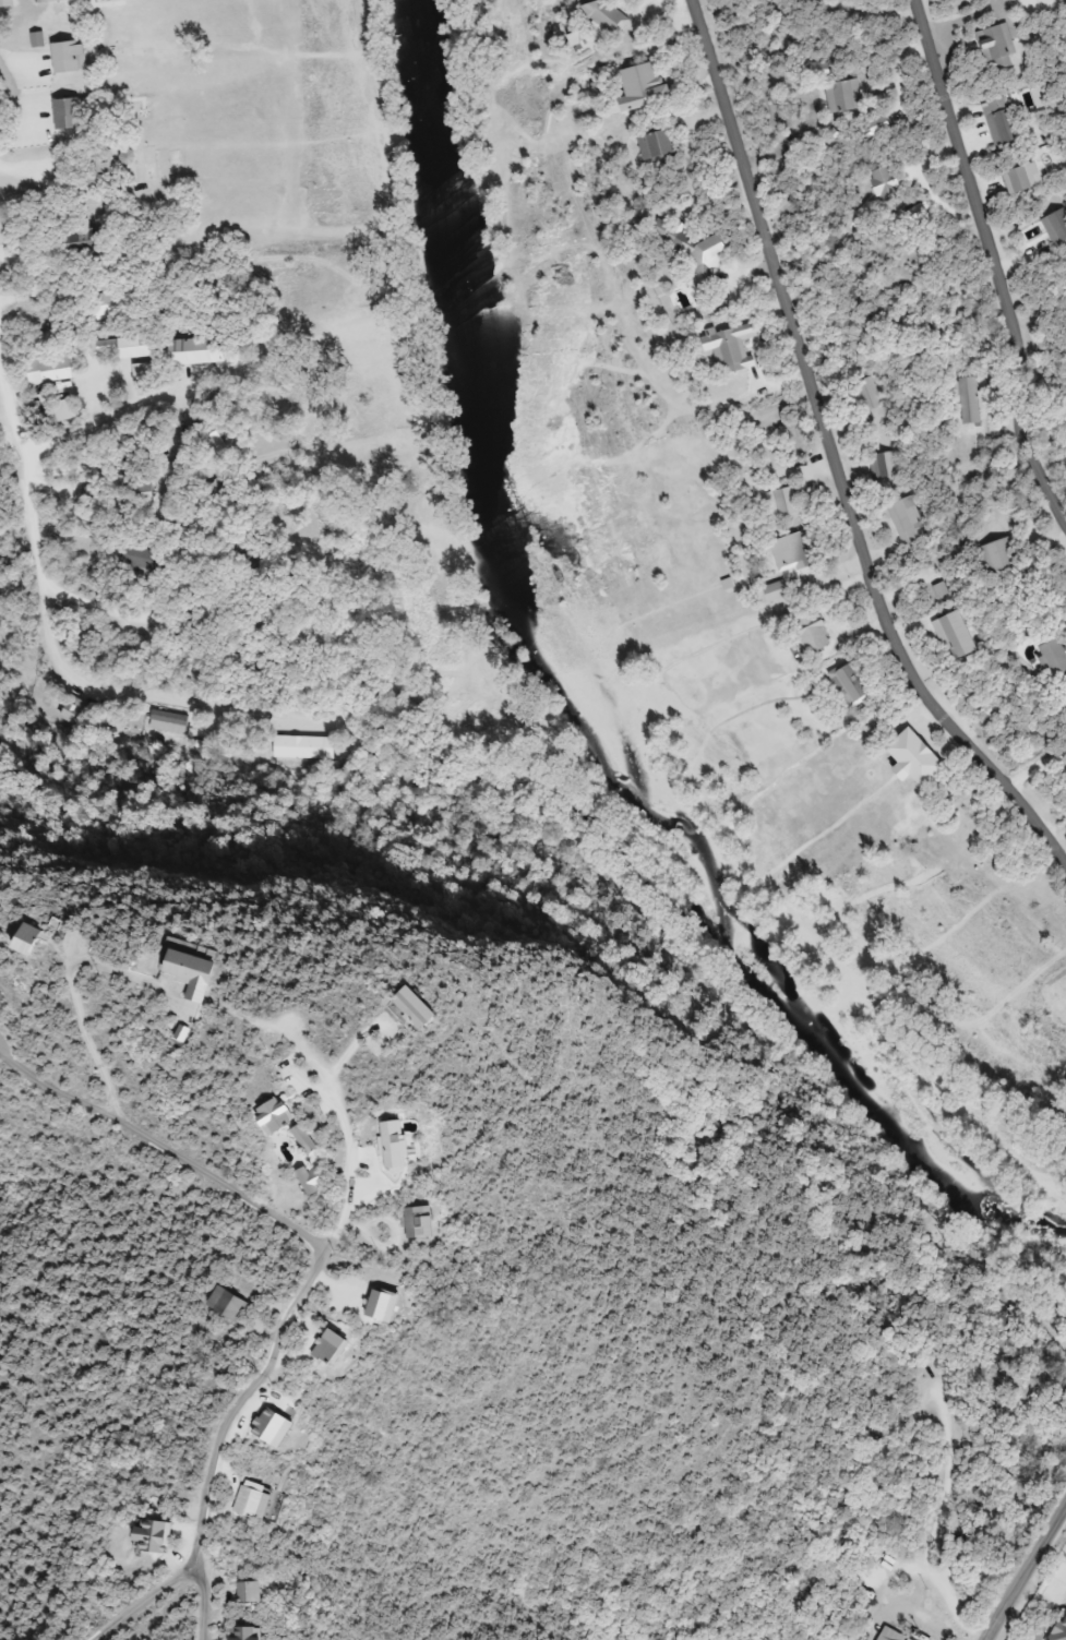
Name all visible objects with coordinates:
building: (822, 0)
building: (53, 1)
building: (8, 3)
building: (613, 19)
building: (998, 46)
building: (73, 58)
building: (650, 88)
building: (845, 96)
building: (73, 113)
building: (1003, 122)
building: (882, 124)
building: (660, 145)
building: (103, 169)
building: (887, 183)
building: (1057, 227)
building: (88, 242)
building: (693, 250)
road: (994, 264)
building: (57, 370)
building: (869, 395)
building: (971, 402)
road: (838, 444)
building: (887, 465)
building: (147, 492)
building: (783, 504)
building: (910, 522)
building: (791, 552)
building: (1001, 555)
building: (145, 559)
building: (814, 631)
building: (958, 636)
road: (48, 645)
building: (1053, 657)
building: (851, 684)
river: (595, 697)
building: (75, 711)
building: (311, 747)
building: (921, 757)
building: (415, 775)
building: (57, 937)
building: (231, 971)
building: (464, 1004)
building: (288, 1115)
building: (314, 1139)
building: (407, 1144)
road: (164, 1149)
building: (315, 1181)
building: (428, 1222)
road: (300, 1302)
building: (230, 1304)
building: (338, 1346)
building: (259, 1501)
building: (159, 1536)
road: (1029, 1575)
building: (254, 1592)
road: (142, 1601)
road: (202, 1604)
building: (253, 1633)
building: (891, 1635)

